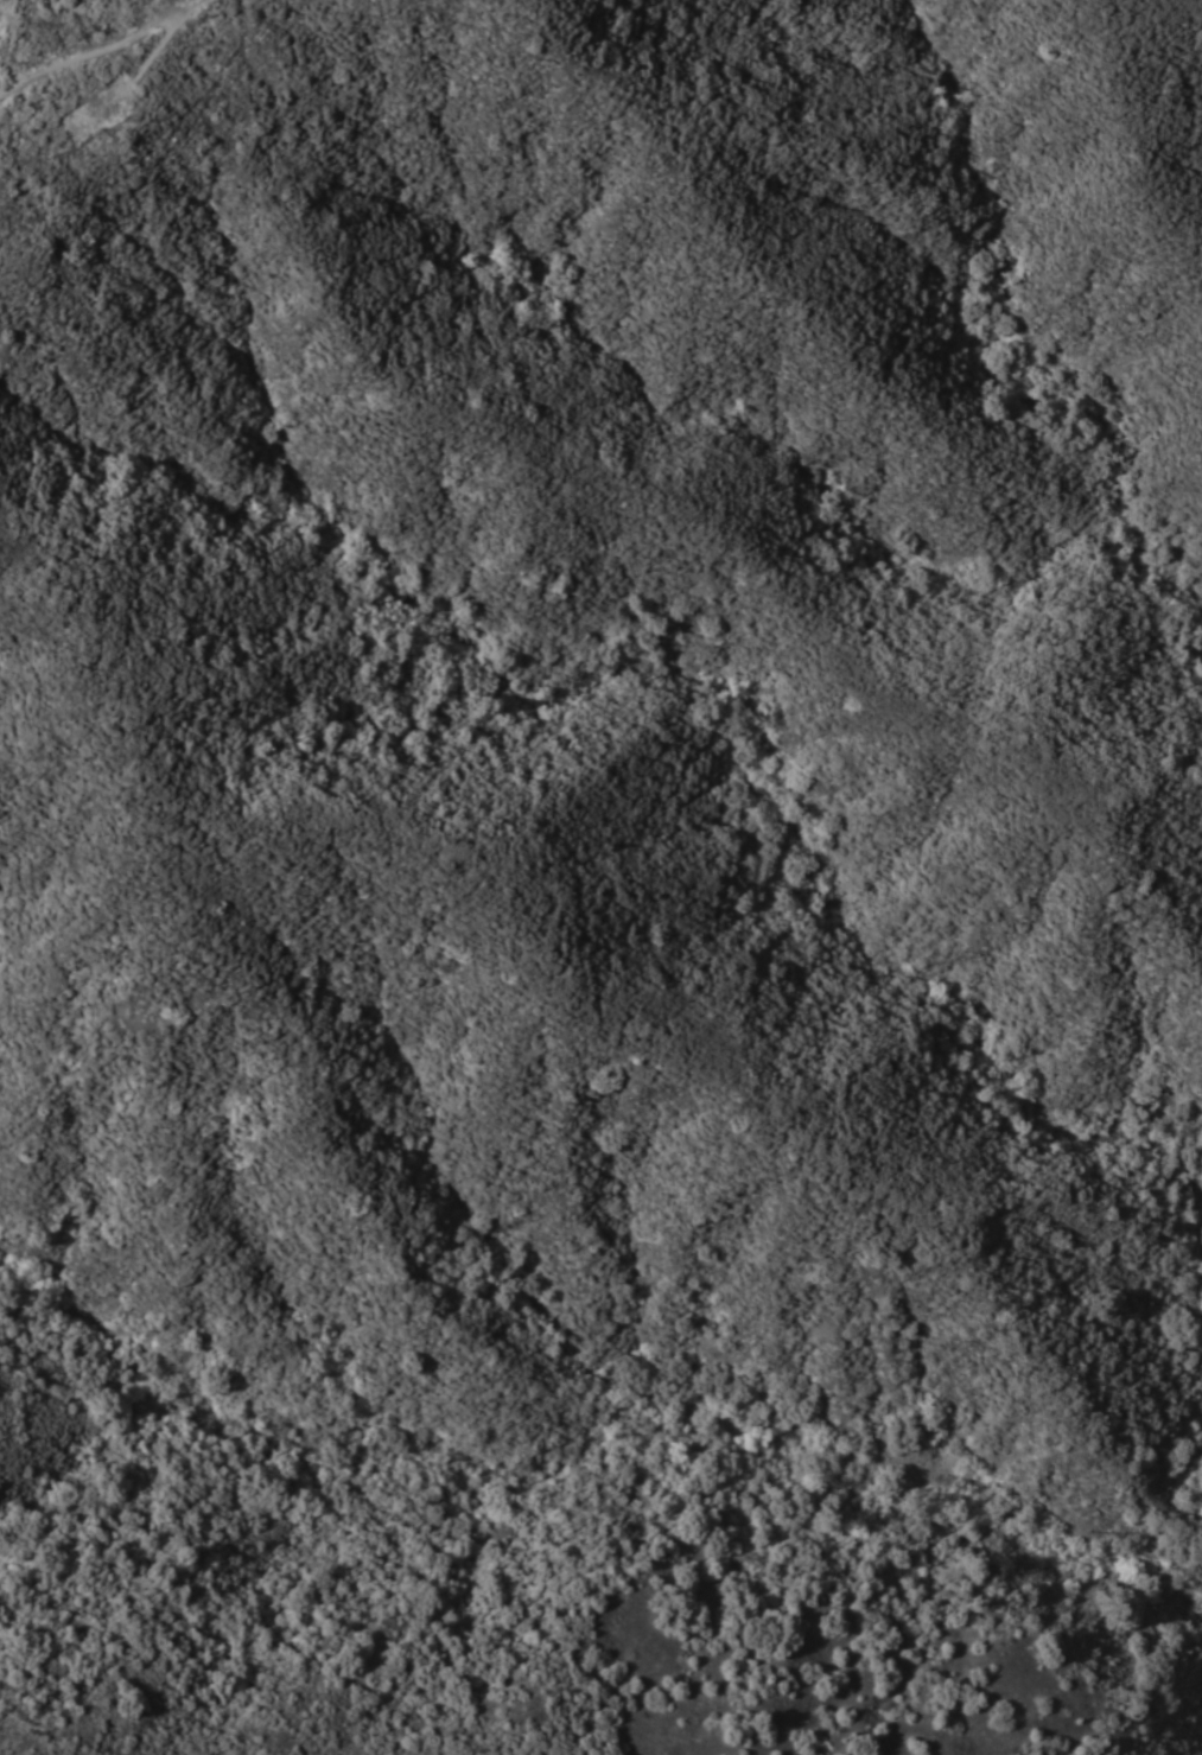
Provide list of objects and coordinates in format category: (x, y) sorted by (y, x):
road: (98, 47)

